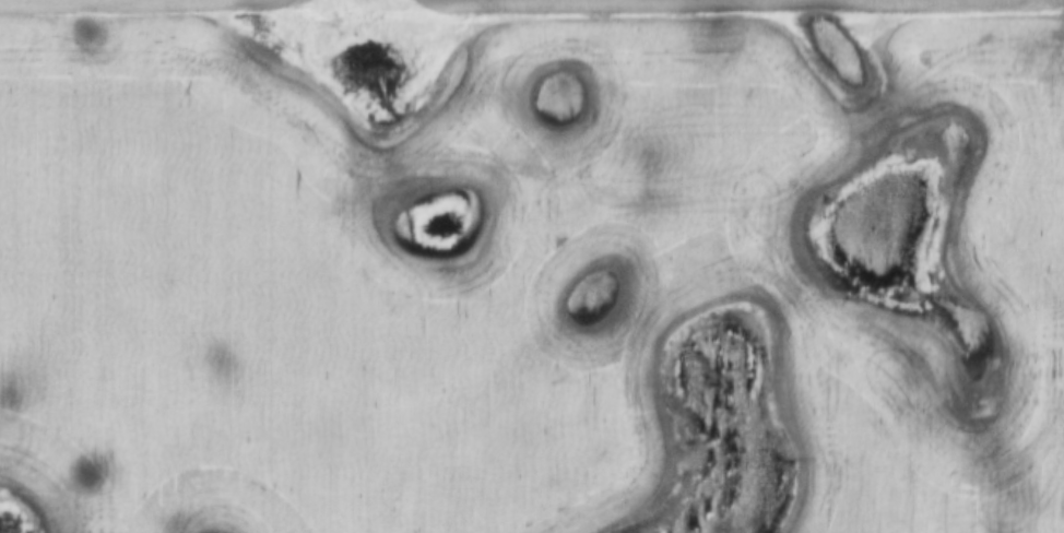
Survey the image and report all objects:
road: (532, 17)

